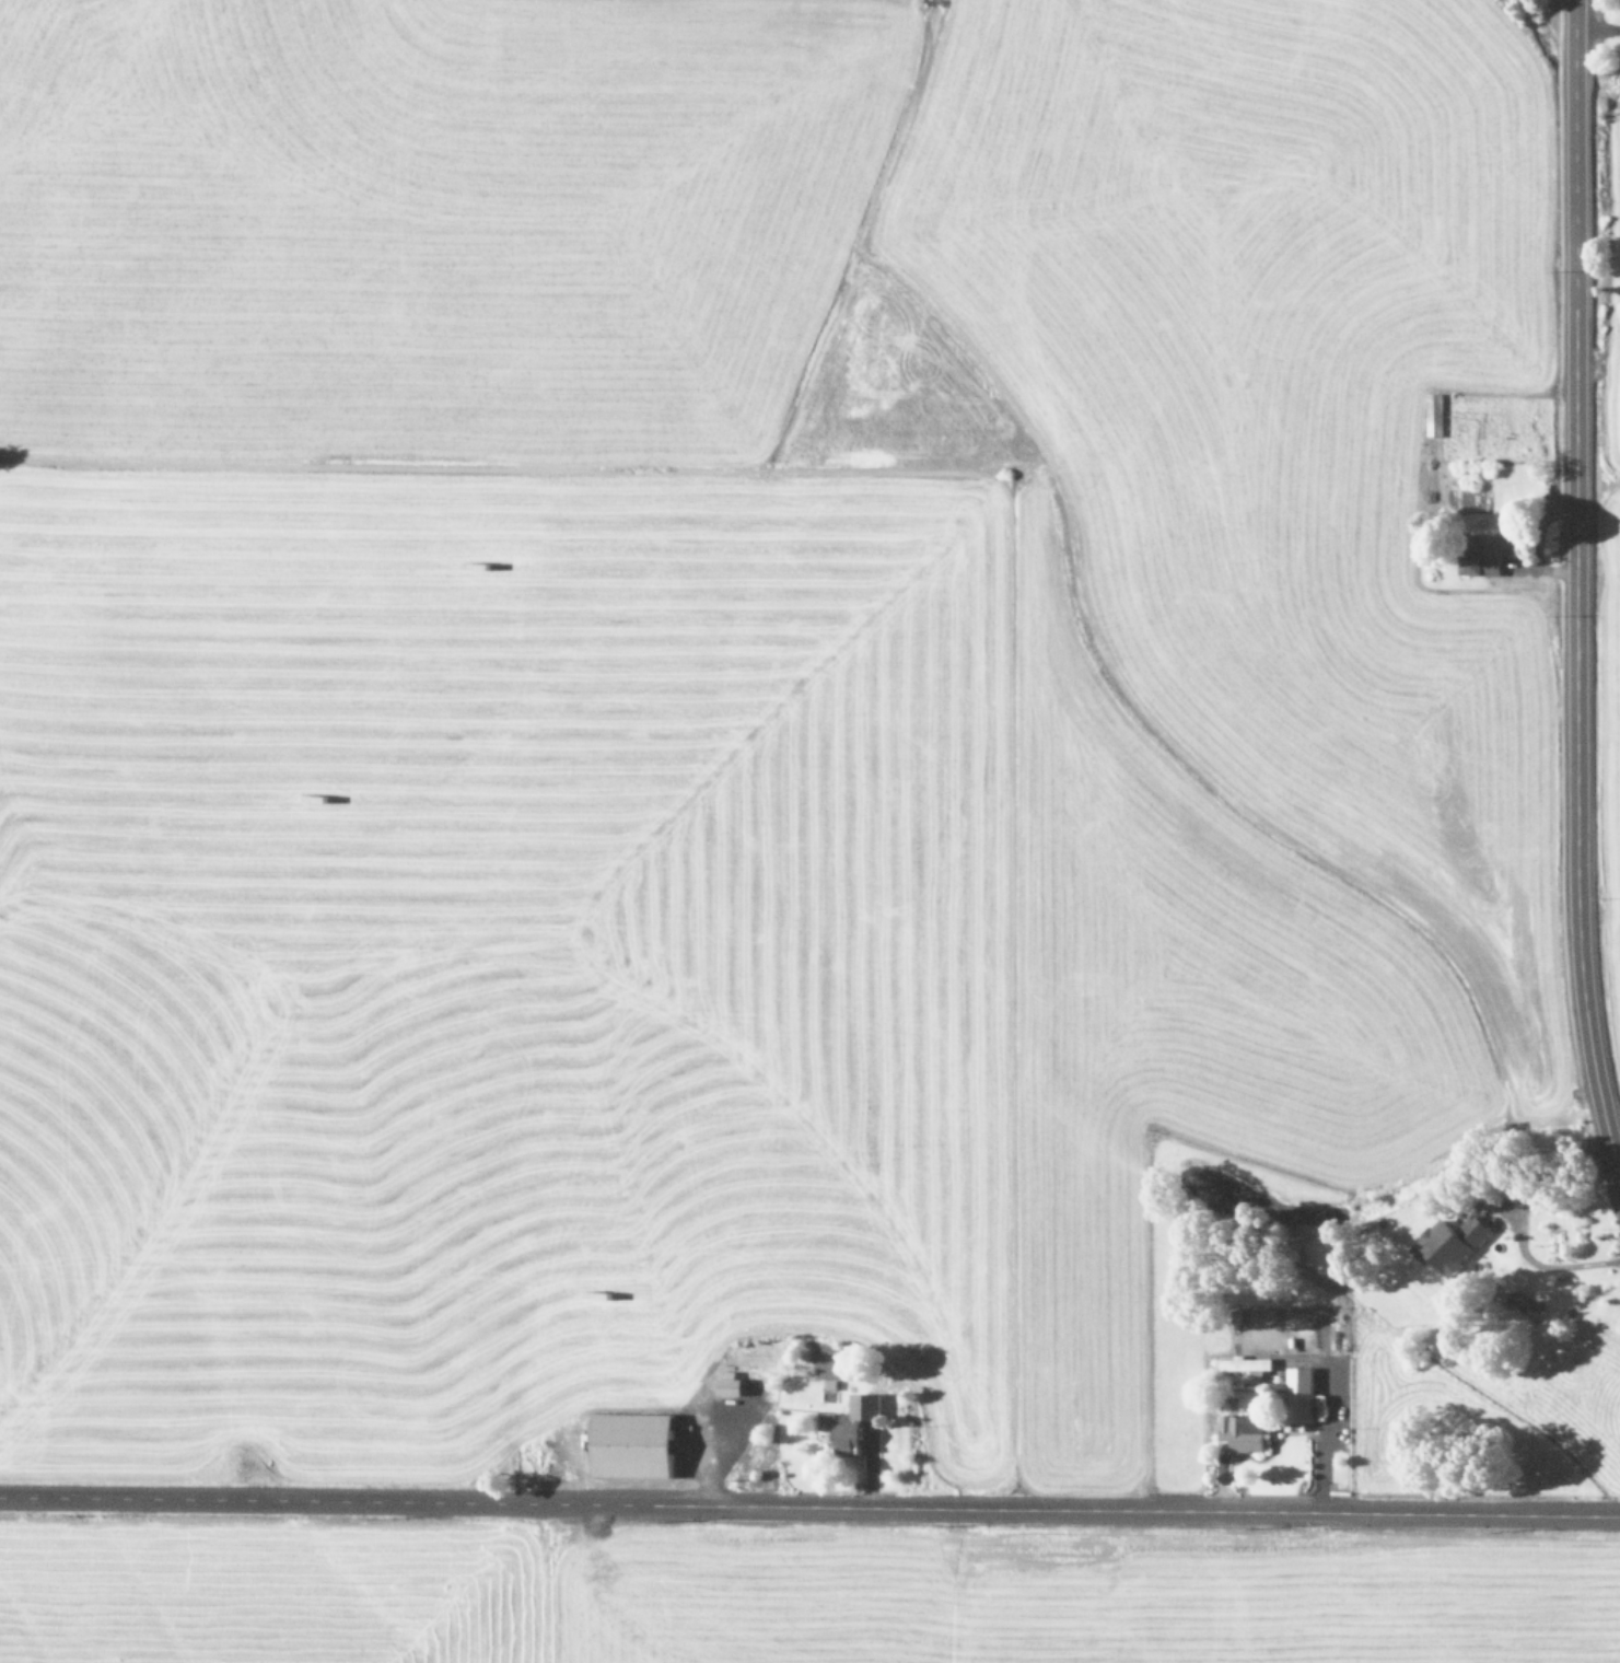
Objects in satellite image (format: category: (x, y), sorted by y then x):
building: (1433, 414)
crop: (1613, 524)
building: (1485, 554)
road: (1570, 602)
crop: (778, 842)
building: (1449, 1243)
building: (1244, 1364)
building: (727, 1384)
building: (1298, 1395)
building: (826, 1421)
building: (854, 1423)
building: (1242, 1431)
building: (631, 1445)
road: (809, 1502)

